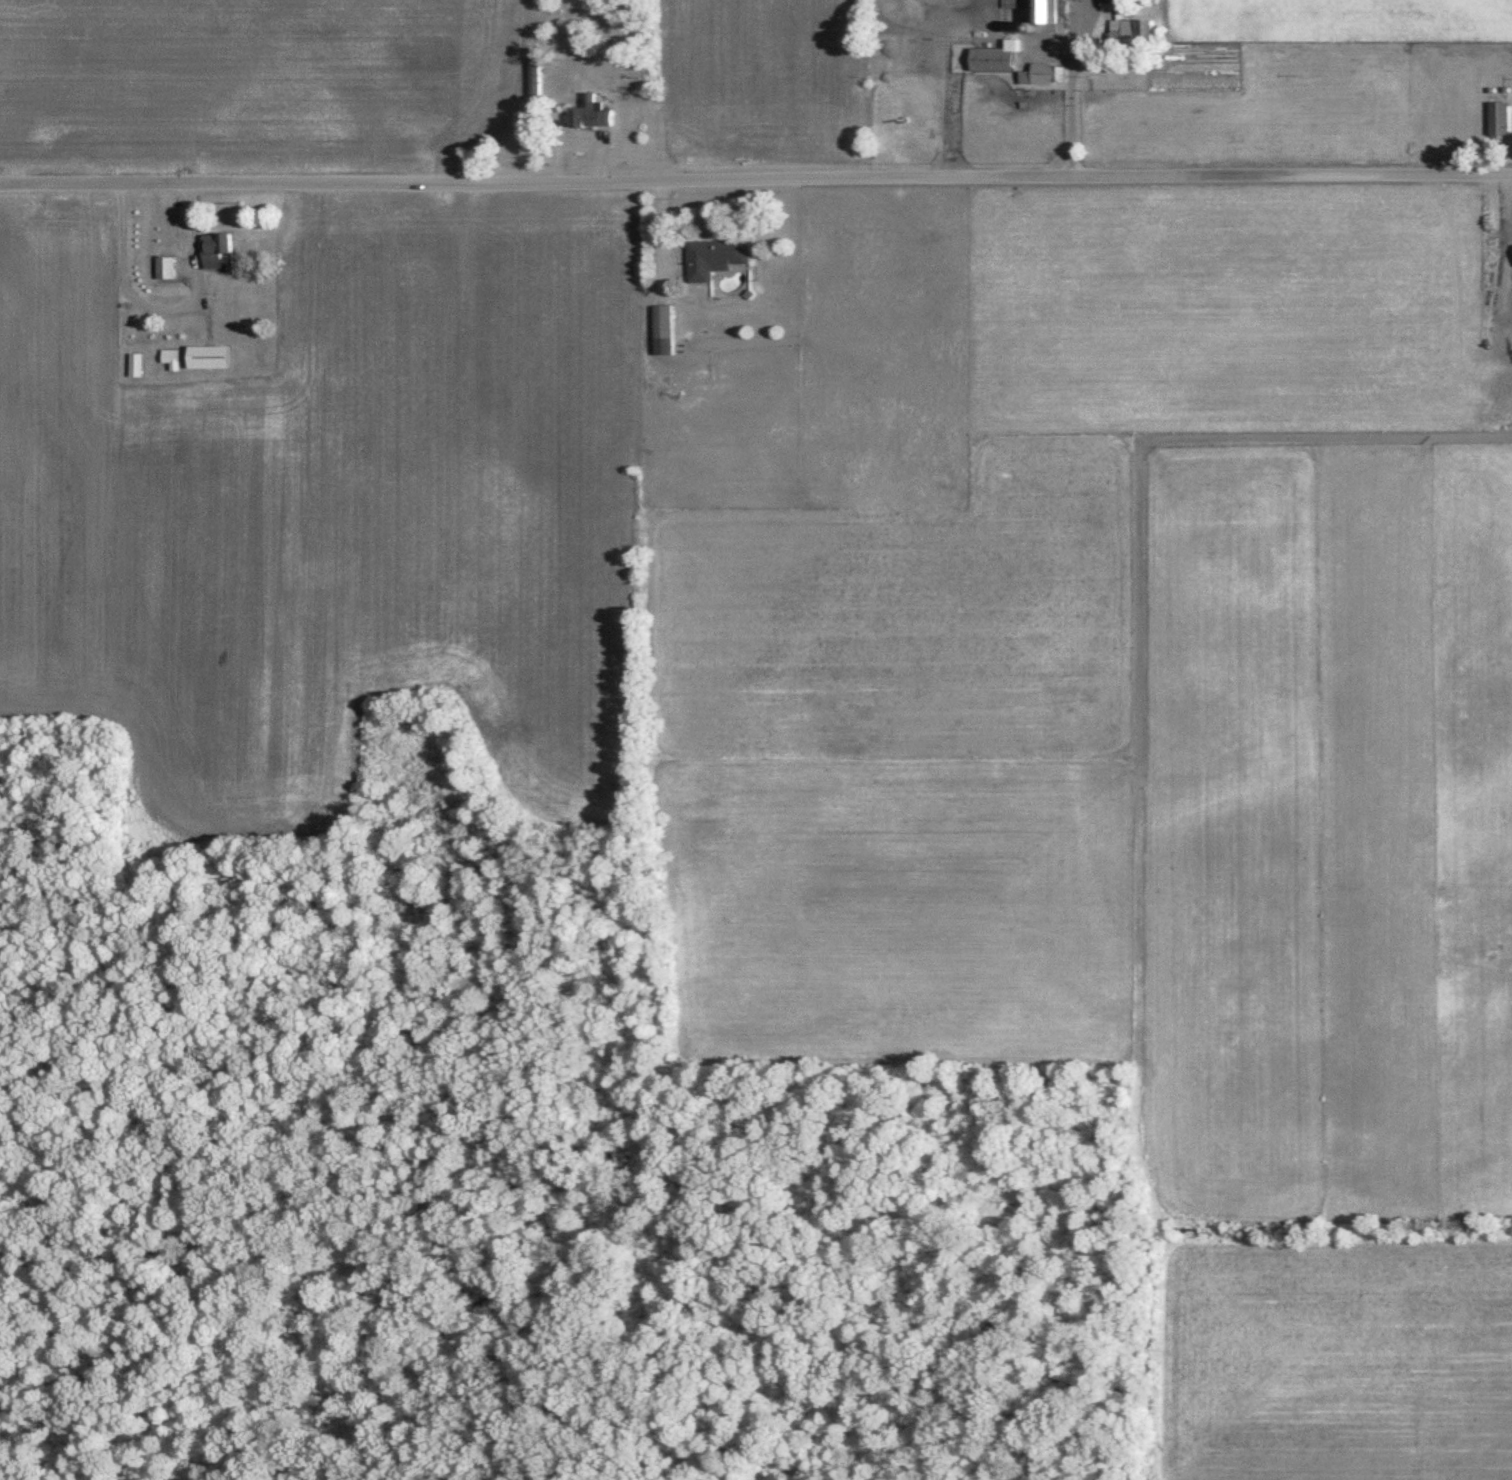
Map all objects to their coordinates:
building: (1043, 10)
building: (1127, 24)
building: (992, 55)
building: (1042, 72)
building: (590, 112)
building: (1498, 118)
road: (756, 179)
building: (214, 249)
building: (713, 255)
building: (164, 265)
building: (662, 328)
building: (207, 355)
building: (171, 356)

